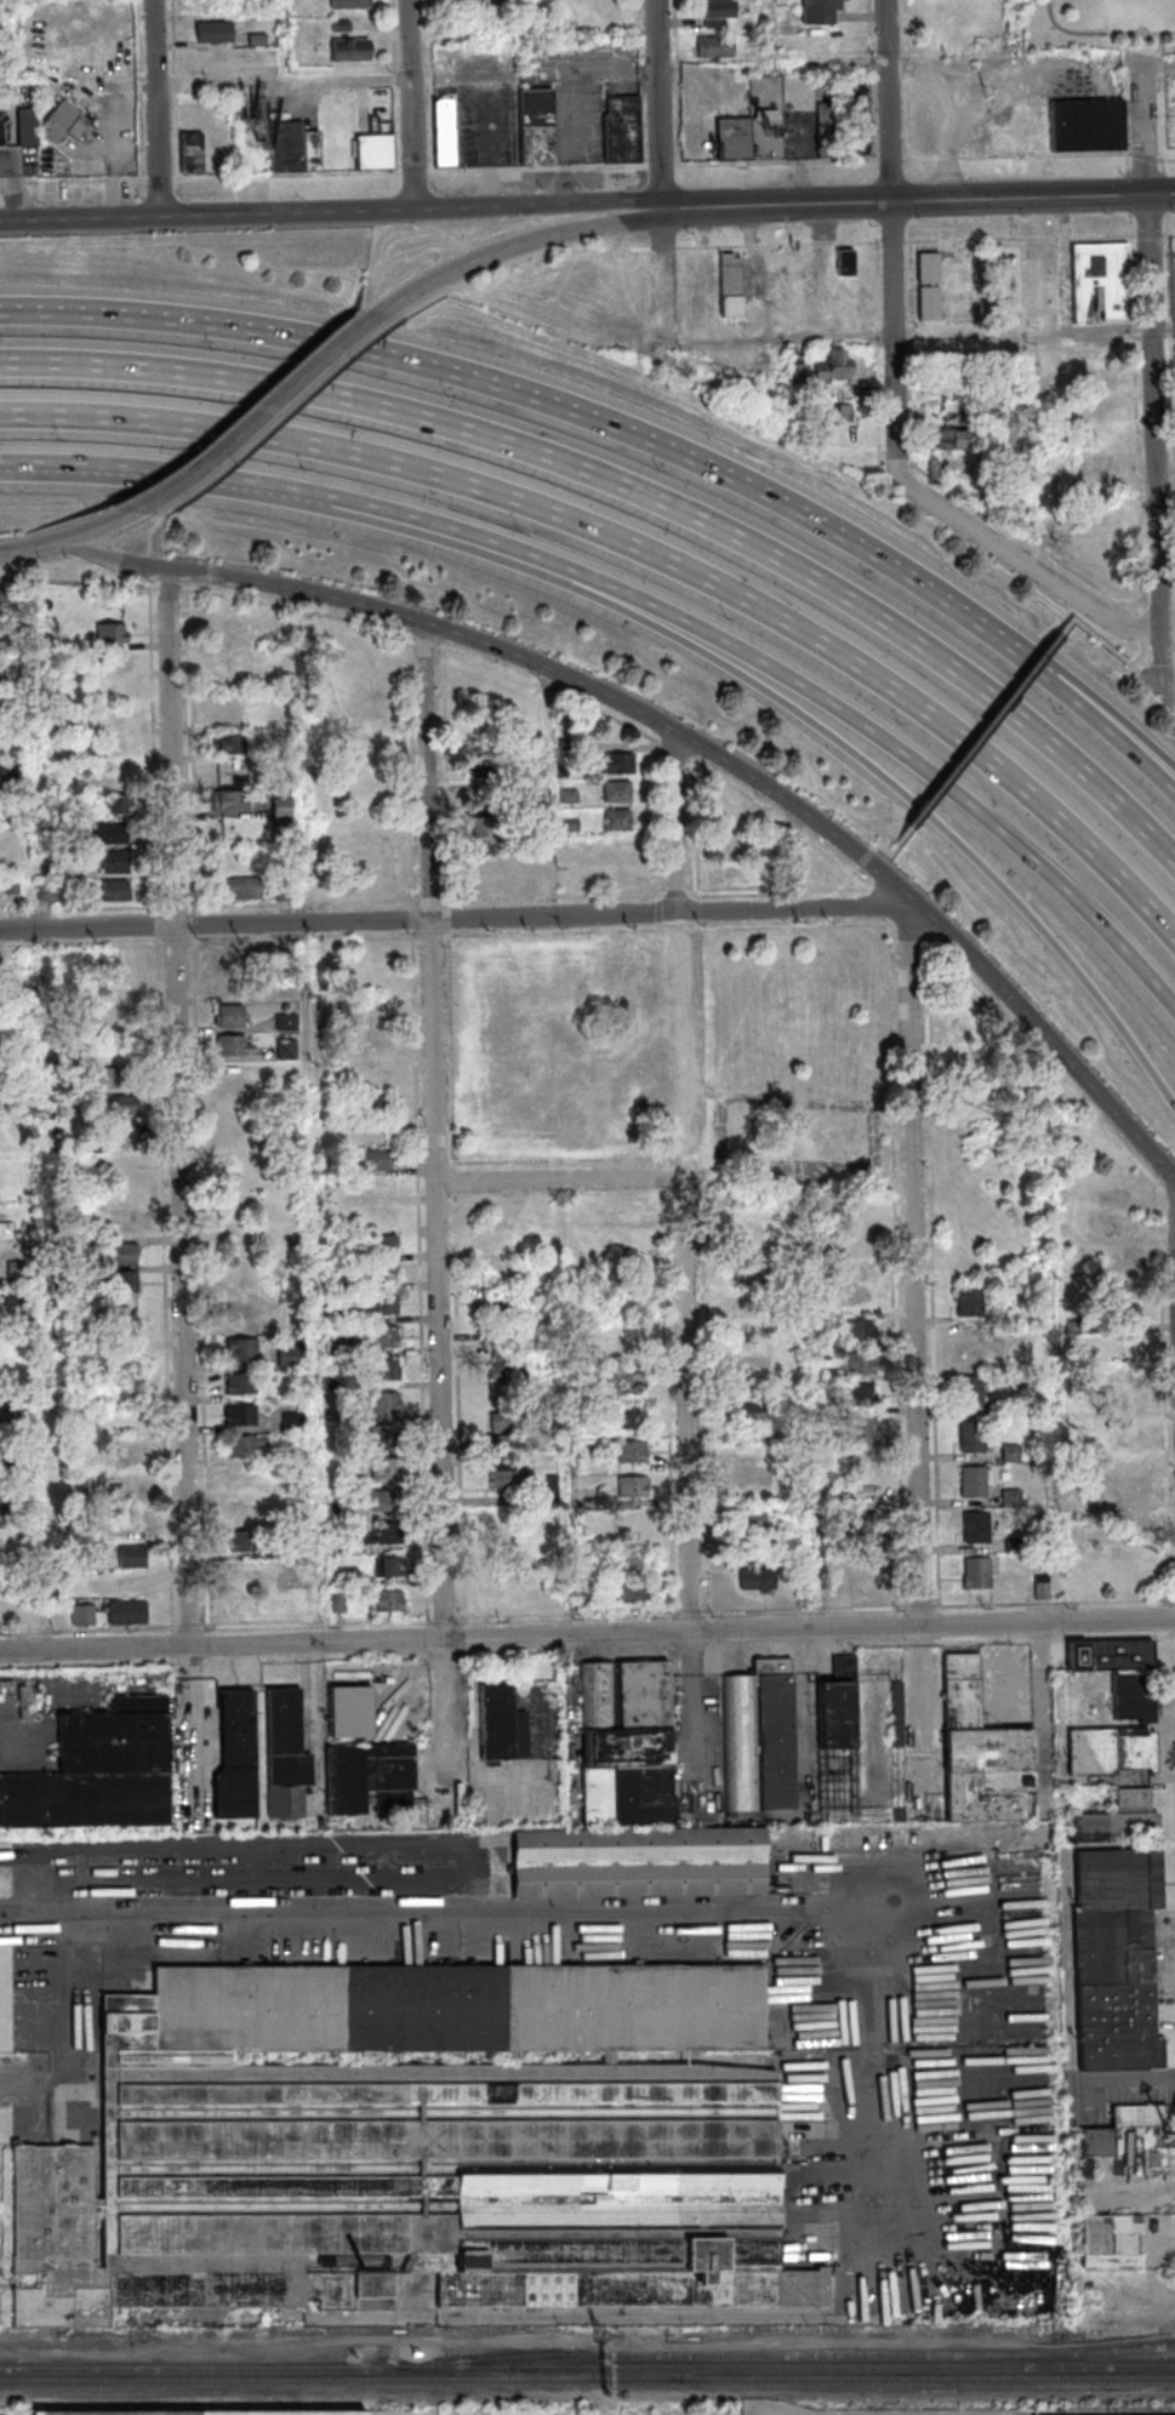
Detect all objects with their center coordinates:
building: (349, 4)
building: (820, 10)
building: (714, 11)
building: (341, 25)
park: (1099, 25)
building: (215, 32)
road: (1101, 34)
building: (257, 40)
building: (715, 46)
building: (350, 48)
road: (1137, 50)
road: (1160, 51)
road: (1159, 68)
road: (908, 79)
road: (872, 80)
road: (283, 82)
road: (678, 82)
road: (641, 84)
road: (430, 86)
road: (661, 102)
road: (411, 104)
road: (154, 108)
building: (768, 114)
building: (859, 118)
building: (63, 121)
parking lot: (489, 124)
building: (1003, 124)
building: (536, 126)
building: (1086, 126)
building: (622, 130)
building: (826, 130)
building: (0, 133)
building: (445, 133)
building: (734, 138)
road: (490, 145)
building: (286, 147)
building: (375, 147)
building: (312, 150)
building: (192, 153)
road: (1017, 156)
road: (1143, 158)
road: (891, 160)
road: (1167, 160)
road: (776, 162)
road: (662, 166)
road: (538, 169)
road: (415, 172)
road: (200, 176)
road: (17, 189)
road: (916, 199)
road: (329, 212)
road: (866, 241)
road: (508, 246)
road: (894, 258)
building: (845, 263)
building: (929, 268)
parking lot: (1174, 272)
building: (730, 285)
building: (1101, 285)
building: (929, 303)
road: (1164, 330)
road: (1023, 333)
building: (821, 370)
building: (954, 381)
road: (1154, 383)
road: (514, 390)
road: (264, 407)
building: (957, 410)
building: (1096, 410)
building: (837, 415)
building: (953, 440)
road: (1165, 469)
road: (121, 470)
road: (638, 491)
road: (81, 532)
road: (643, 550)
road: (1042, 576)
building: (6, 596)
building: (235, 630)
building: (110, 634)
road: (483, 641)
road: (1141, 647)
road: (1114, 649)
road: (754, 650)
building: (227, 662)
road: (1082, 686)
road: (774, 693)
road: (1080, 703)
road: (1169, 704)
building: (226, 714)
building: (283, 726)
road: (987, 731)
building: (369, 740)
building: (567, 744)
building: (227, 746)
building: (514, 760)
building: (616, 764)
building: (485, 767)
building: (8, 769)
building: (229, 773)
building: (114, 776)
building: (41, 783)
building: (617, 793)
building: (569, 797)
building: (228, 801)
building: (118, 804)
building: (281, 809)
building: (617, 821)
road: (672, 821)
building: (570, 826)
building: (484, 828)
building: (278, 829)
building: (109, 834)
building: (735, 844)
road: (883, 845)
building: (617, 846)
building: (367, 858)
building: (114, 863)
road: (860, 867)
building: (47, 873)
building: (736, 873)
building: (11, 885)
building: (239, 889)
building: (115, 891)
building: (46, 892)
building: (284, 892)
road: (460, 918)
building: (648, 975)
building: (230, 987)
building: (376, 992)
building: (286, 995)
road: (1026, 1014)
building: (228, 1017)
building: (112, 1021)
building: (286, 1023)
building: (964, 1027)
road: (675, 1044)
building: (233, 1046)
building: (285, 1050)
building: (507, 1052)
building: (114, 1079)
building: (120, 1103)
building: (375, 1106)
road: (432, 1131)
building: (377, 1161)
road: (553, 1180)
building: (376, 1187)
road: (178, 1197)
building: (755, 1229)
building: (856, 1235)
building: (496, 1241)
building: (540, 1246)
building: (380, 1248)
building: (124, 1255)
building: (860, 1266)
building: (16, 1268)
building: (751, 1272)
road: (917, 1272)
building: (380, 1275)
building: (124, 1283)
building: (1123, 1286)
building: (15, 1296)
building: (860, 1296)
building: (627, 1300)
building: (970, 1302)
building: (383, 1306)
building: (751, 1307)
building: (239, 1308)
building: (504, 1312)
building: (340, 1317)
building: (1125, 1317)
building: (1078, 1328)
building: (859, 1331)
building: (498, 1336)
building: (383, 1338)
building: (336, 1344)
building: (968, 1348)
building: (629, 1351)
building: (240, 1352)
building: (290, 1358)
building: (748, 1361)
building: (592, 1364)
building: (860, 1364)
building: (1006, 1364)
building: (114, 1369)
building: (504, 1369)
building: (384, 1371)
building: (831, 1377)
building: (331, 1383)
building: (631, 1385)
building: (241, 1386)
building: (970, 1393)
building: (861, 1397)
road: (684, 1403)
building: (1124, 1403)
building: (18, 1404)
building: (384, 1404)
building: (610, 1411)
building: (754, 1414)
building: (241, 1416)
building: (631, 1420)
building: (508, 1421)
building: (292, 1423)
building: (862, 1428)
building: (1122, 1433)
building: (384, 1437)
building: (972, 1438)
building: (507, 1441)
building: (245, 1448)
building: (751, 1449)
building: (633, 1454)
building: (1011, 1455)
building: (287, 1457)
building: (130, 1460)
building: (863, 1461)
building: (387, 1469)
building: (755, 1475)
building: (509, 1481)
building: (975, 1483)
building: (633, 1488)
building: (1126, 1491)
building: (132, 1492)
building: (549, 1492)
building: (1011, 1498)
building: (381, 1501)
building: (23, 1502)
building: (244, 1512)
building: (337, 1512)
building: (286, 1519)
building: (760, 1523)
building: (863, 1525)
building: (977, 1529)
building: (822, 1534)
building: (384, 1537)
building: (508, 1538)
building: (245, 1543)
building: (281, 1551)
building: (131, 1558)
building: (388, 1568)
building: (244, 1571)
building: (977, 1575)
building: (348, 1577)
building: (759, 1580)
building: (1042, 1588)
building: (865, 1591)
building: (634, 1593)
building: (389, 1603)
building: (582, 1603)
building: (244, 1605)
building: (337, 1606)
building: (127, 1614)
building: (82, 1616)
road: (587, 1634)
building: (1111, 1657)
road: (694, 1697)
building: (1135, 1700)
building: (838, 1708)
road: (922, 1711)
road: (447, 1713)
building: (896, 1713)
building: (352, 1715)
building: (501, 1726)
building: (775, 1736)
road: (27, 1740)
building: (286, 1742)
building: (741, 1745)
building: (627, 1746)
building: (1112, 1752)
building: (982, 1755)
building: (238, 1759)
building: (99, 1772)
building: (370, 1780)
building: (1120, 1822)
road: (251, 1850)
road: (1031, 1852)
building: (638, 1863)
road: (587, 1909)
building: (1118, 1962)
road: (76, 1993)
building: (458, 2010)
building: (1140, 2119)
building: (1099, 2145)
building: (438, 2185)
building: (57, 2242)
building: (1113, 2245)
power tower: (1060, 2334)
power tower: (598, 2335)
power tower: (138, 2340)
railway: (783, 2353)
railway: (783, 2365)
railway: (196, 2368)
railway: (587, 2379)
building: (200, 2413)

